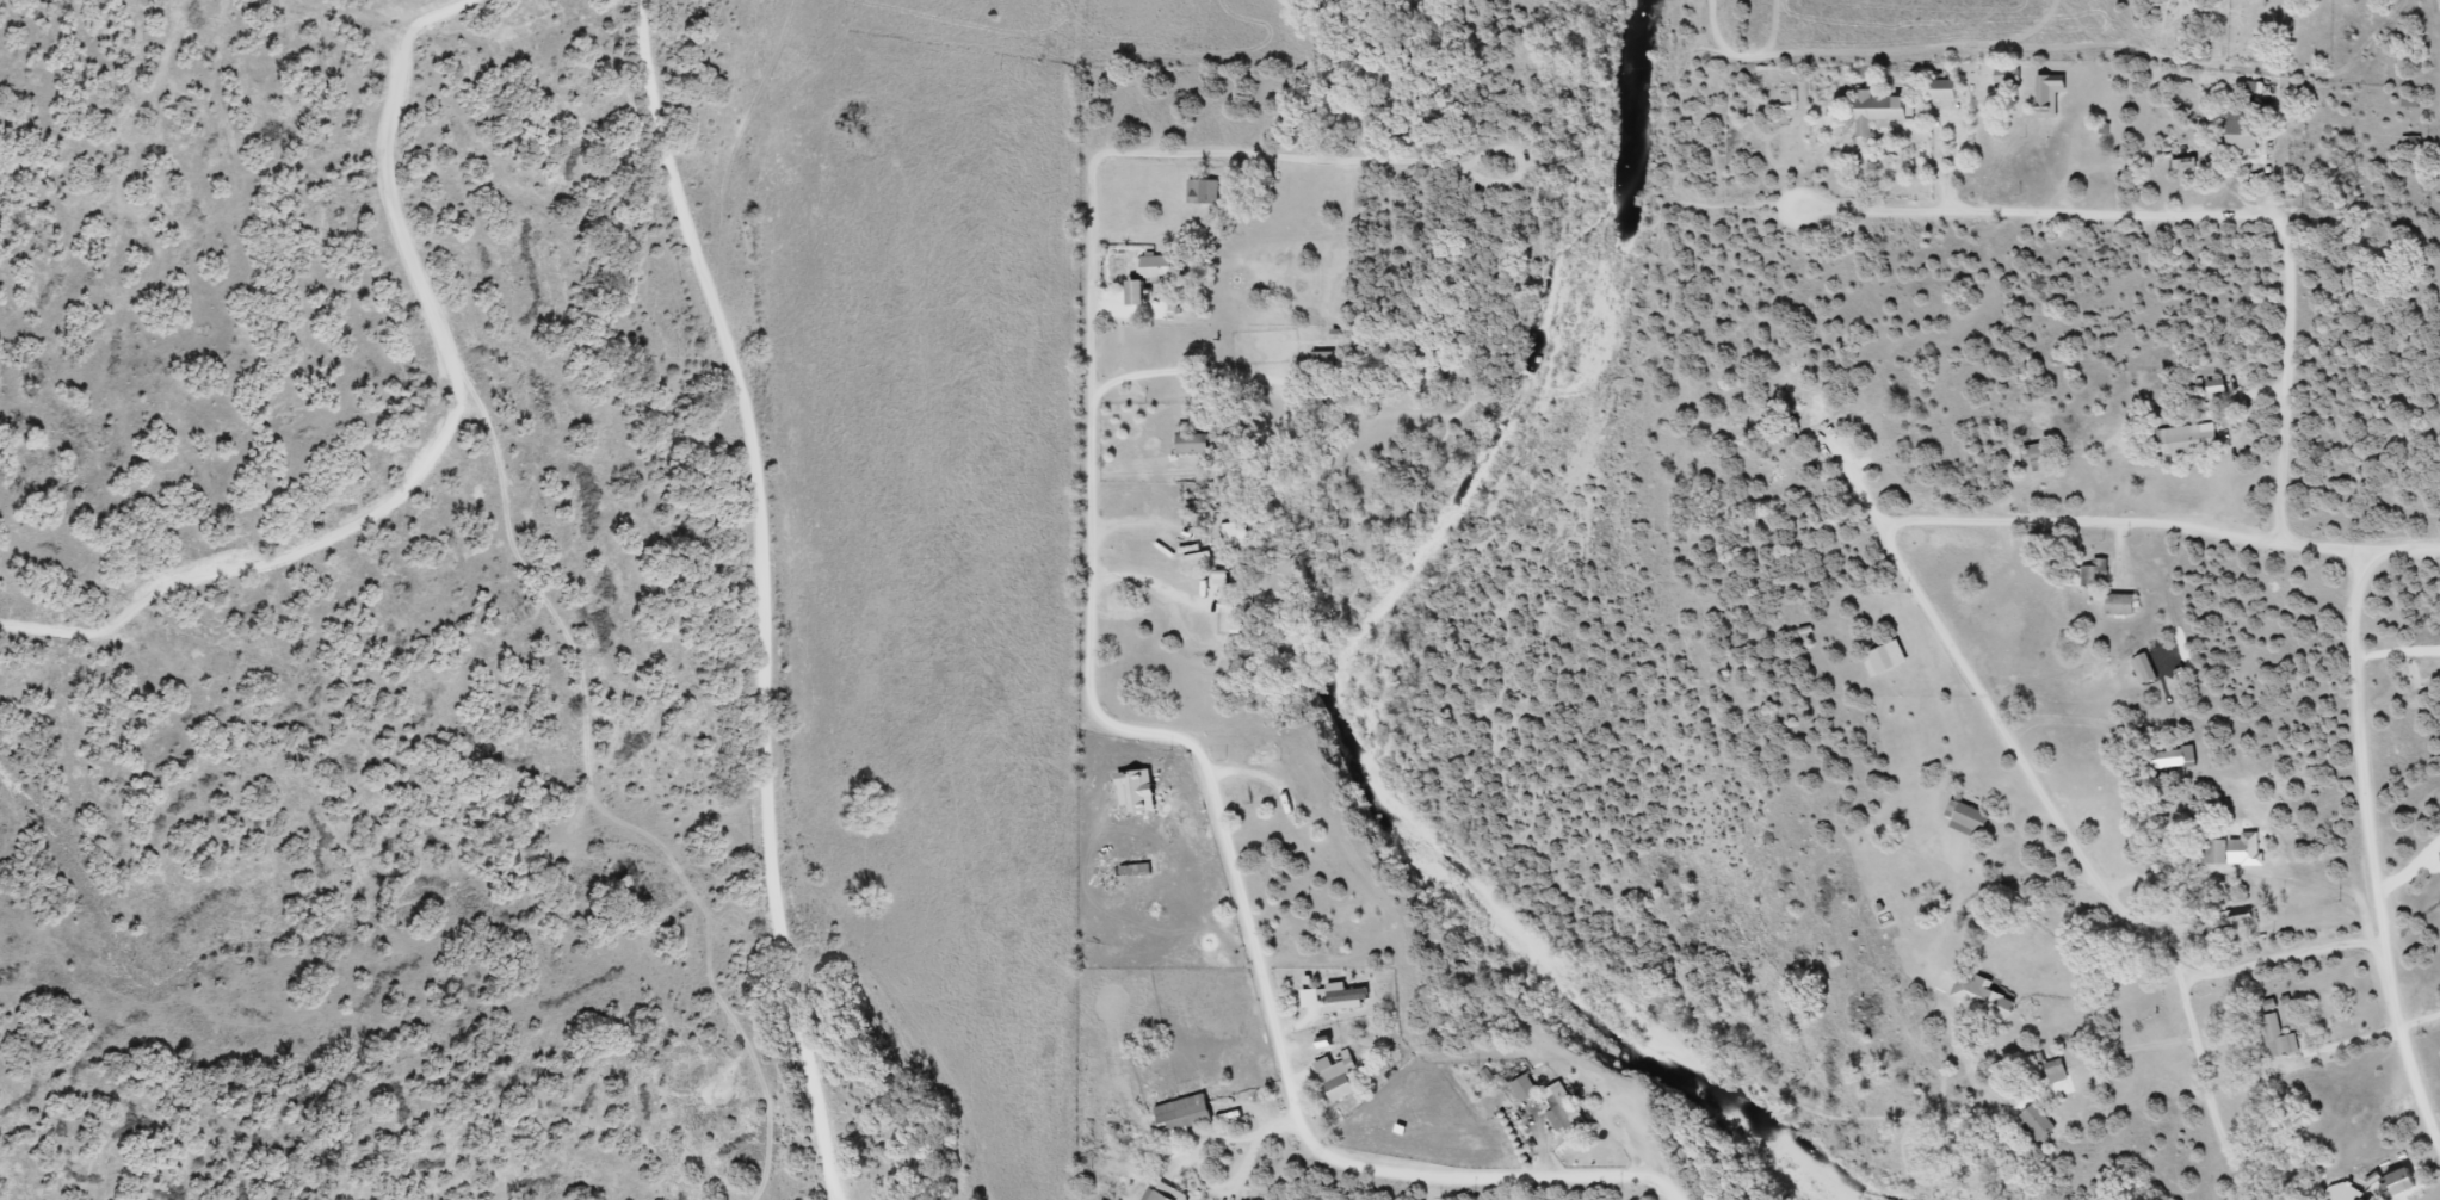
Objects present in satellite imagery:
park: (2280, 31)
road: (1892, 63)
building: (2007, 78)
building: (1944, 89)
building: (2049, 94)
building: (1878, 110)
building: (2242, 130)
road: (735, 150)
building: (1203, 191)
road: (2064, 212)
building: (1159, 266)
building: (1137, 292)
building: (1323, 363)
road: (2286, 373)
building: (2214, 384)
building: (1784, 435)
building: (2182, 439)
building: (1193, 444)
road: (433, 447)
road: (1052, 452)
building: (2036, 452)
road: (768, 526)
building: (1235, 533)
building: (2093, 573)
building: (2120, 602)
road: (1919, 636)
building: (1884, 657)
river: (1338, 698)
building: (2178, 755)
road: (2372, 799)
building: (1965, 816)
building: (2229, 846)
building: (2242, 916)
building: (1982, 996)
building: (2277, 1037)
building: (2055, 1070)
building: (1342, 1085)
building: (1525, 1088)
road: (940, 1089)
building: (1567, 1109)
road: (2415, 1111)
building: (1182, 1112)
road: (952, 1122)
building: (2036, 1122)
road: (832, 1131)
road: (1014, 1143)
road: (1296, 1163)
building: (2403, 1180)
building: (1165, 1193)
building: (2361, 1199)

